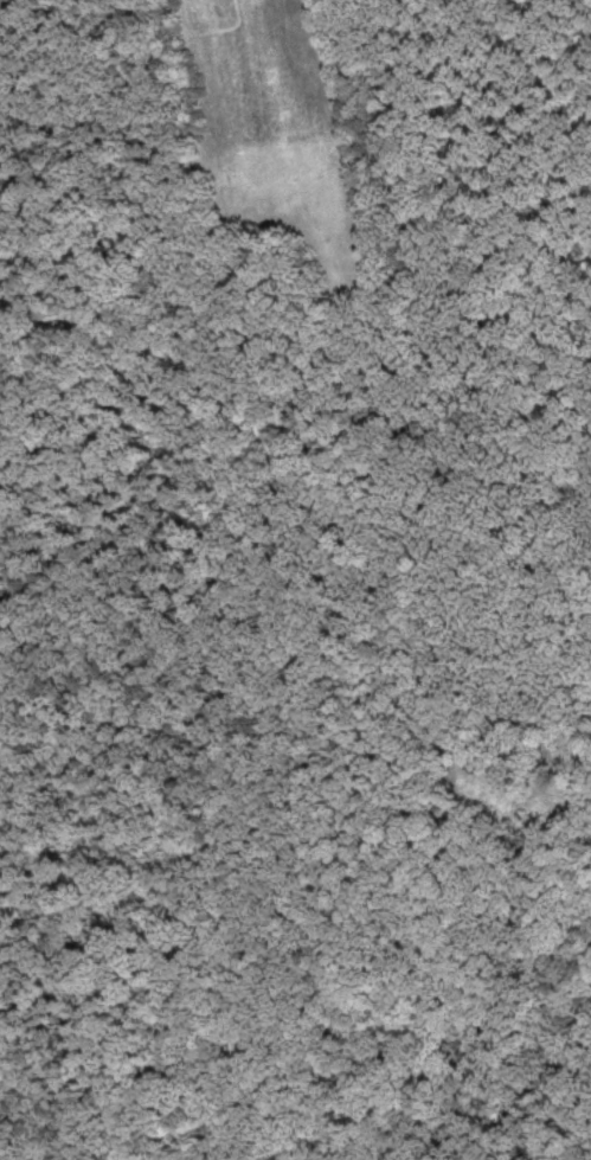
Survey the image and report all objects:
road: (293, 444)

